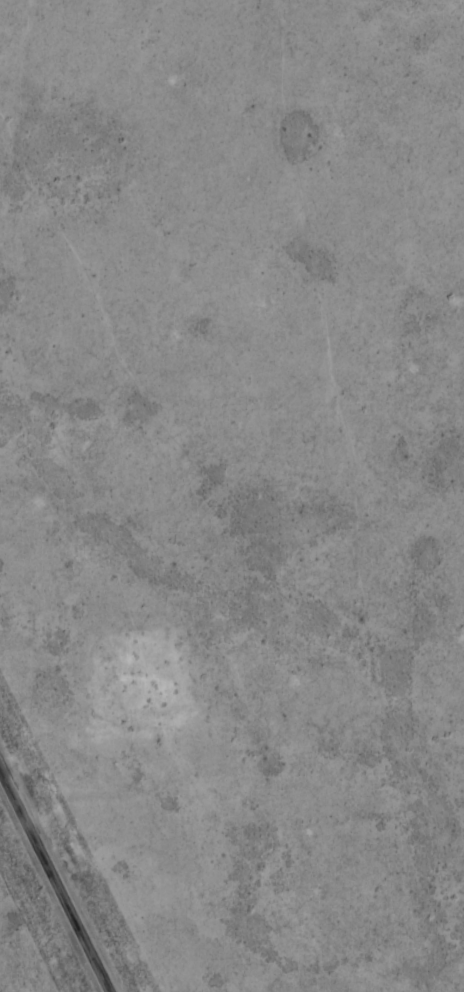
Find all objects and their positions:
road: (57, 875)

